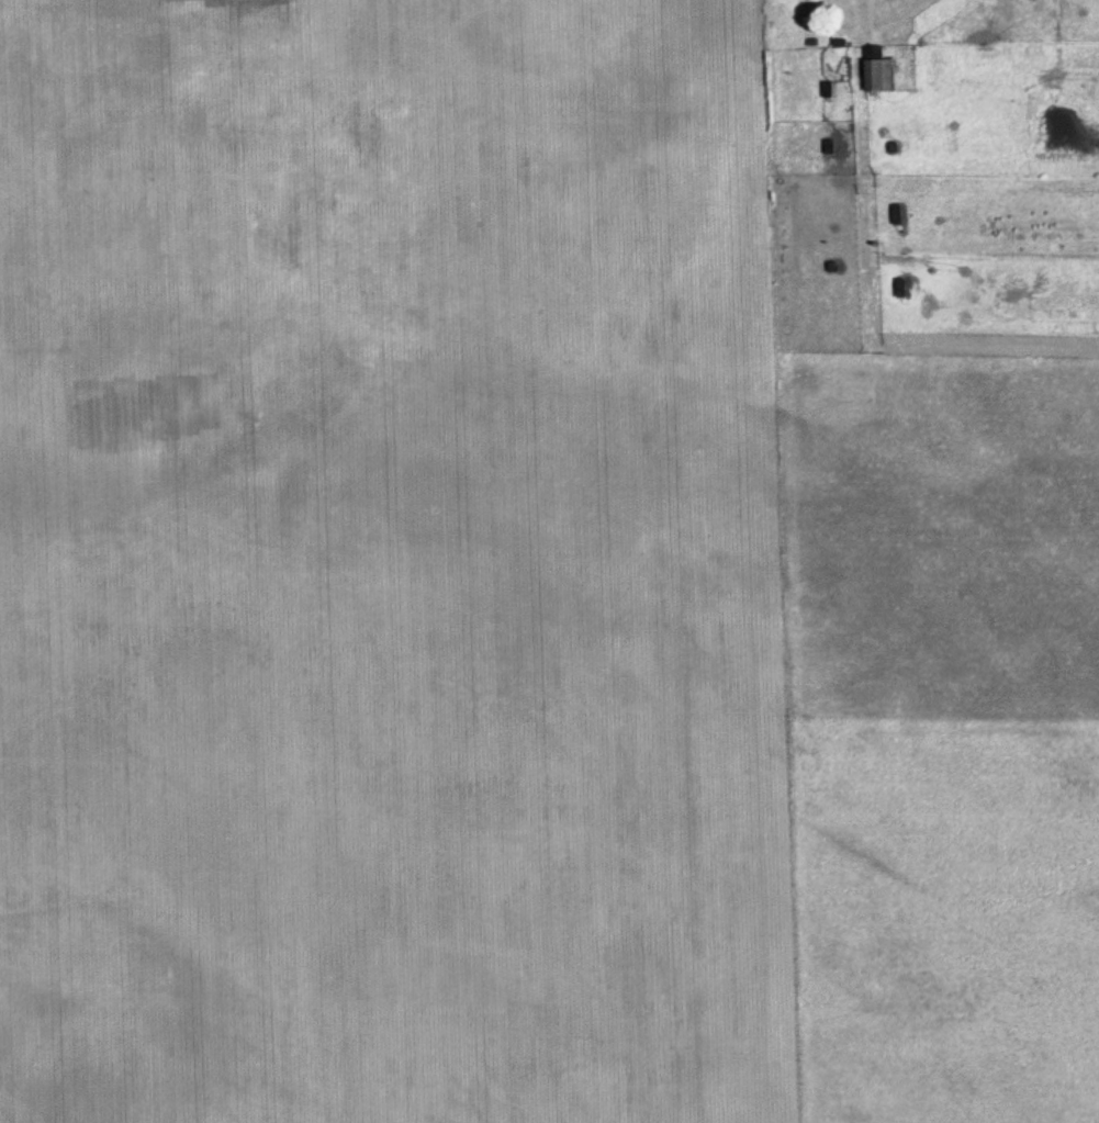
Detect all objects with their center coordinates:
building: (879, 70)
building: (897, 214)
building: (901, 287)

